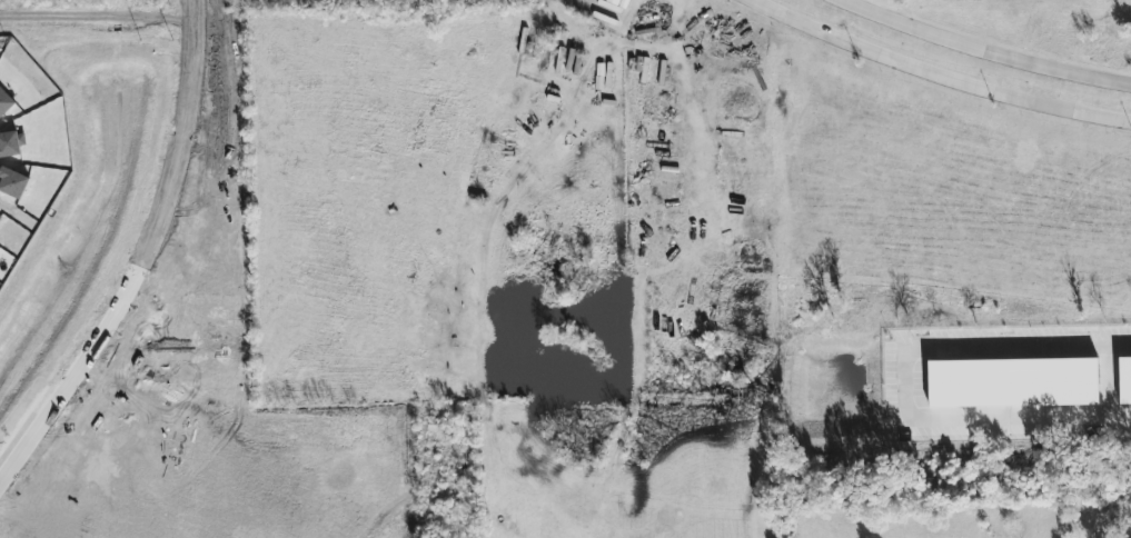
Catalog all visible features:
road: (984, 51)
road: (939, 73)
building: (4, 101)
building: (9, 143)
building: (12, 181)
building: (0, 213)
road: (145, 263)
building: (1125, 379)
building: (1012, 381)
road: (912, 383)

